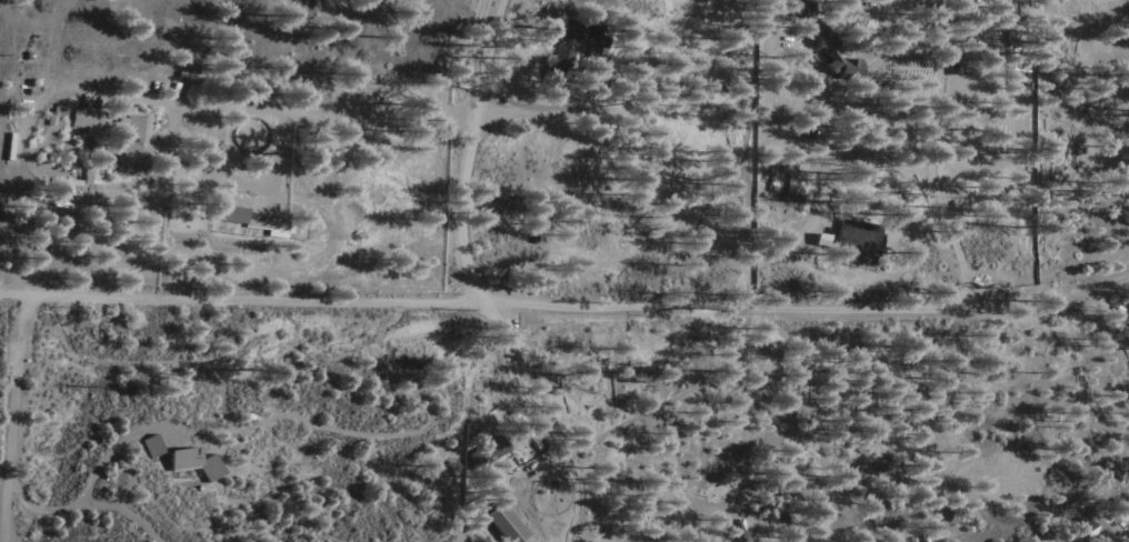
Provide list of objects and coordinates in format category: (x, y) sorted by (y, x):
building: (576, 38)
building: (843, 68)
road: (229, 108)
road: (548, 110)
building: (117, 132)
road: (467, 149)
road: (936, 187)
building: (252, 220)
building: (857, 241)
road: (1083, 292)
road: (520, 302)
road: (13, 418)
road: (553, 432)
road: (409, 433)
building: (151, 448)
building: (188, 465)
road: (97, 480)
road: (127, 513)
building: (504, 525)
building: (1122, 532)

